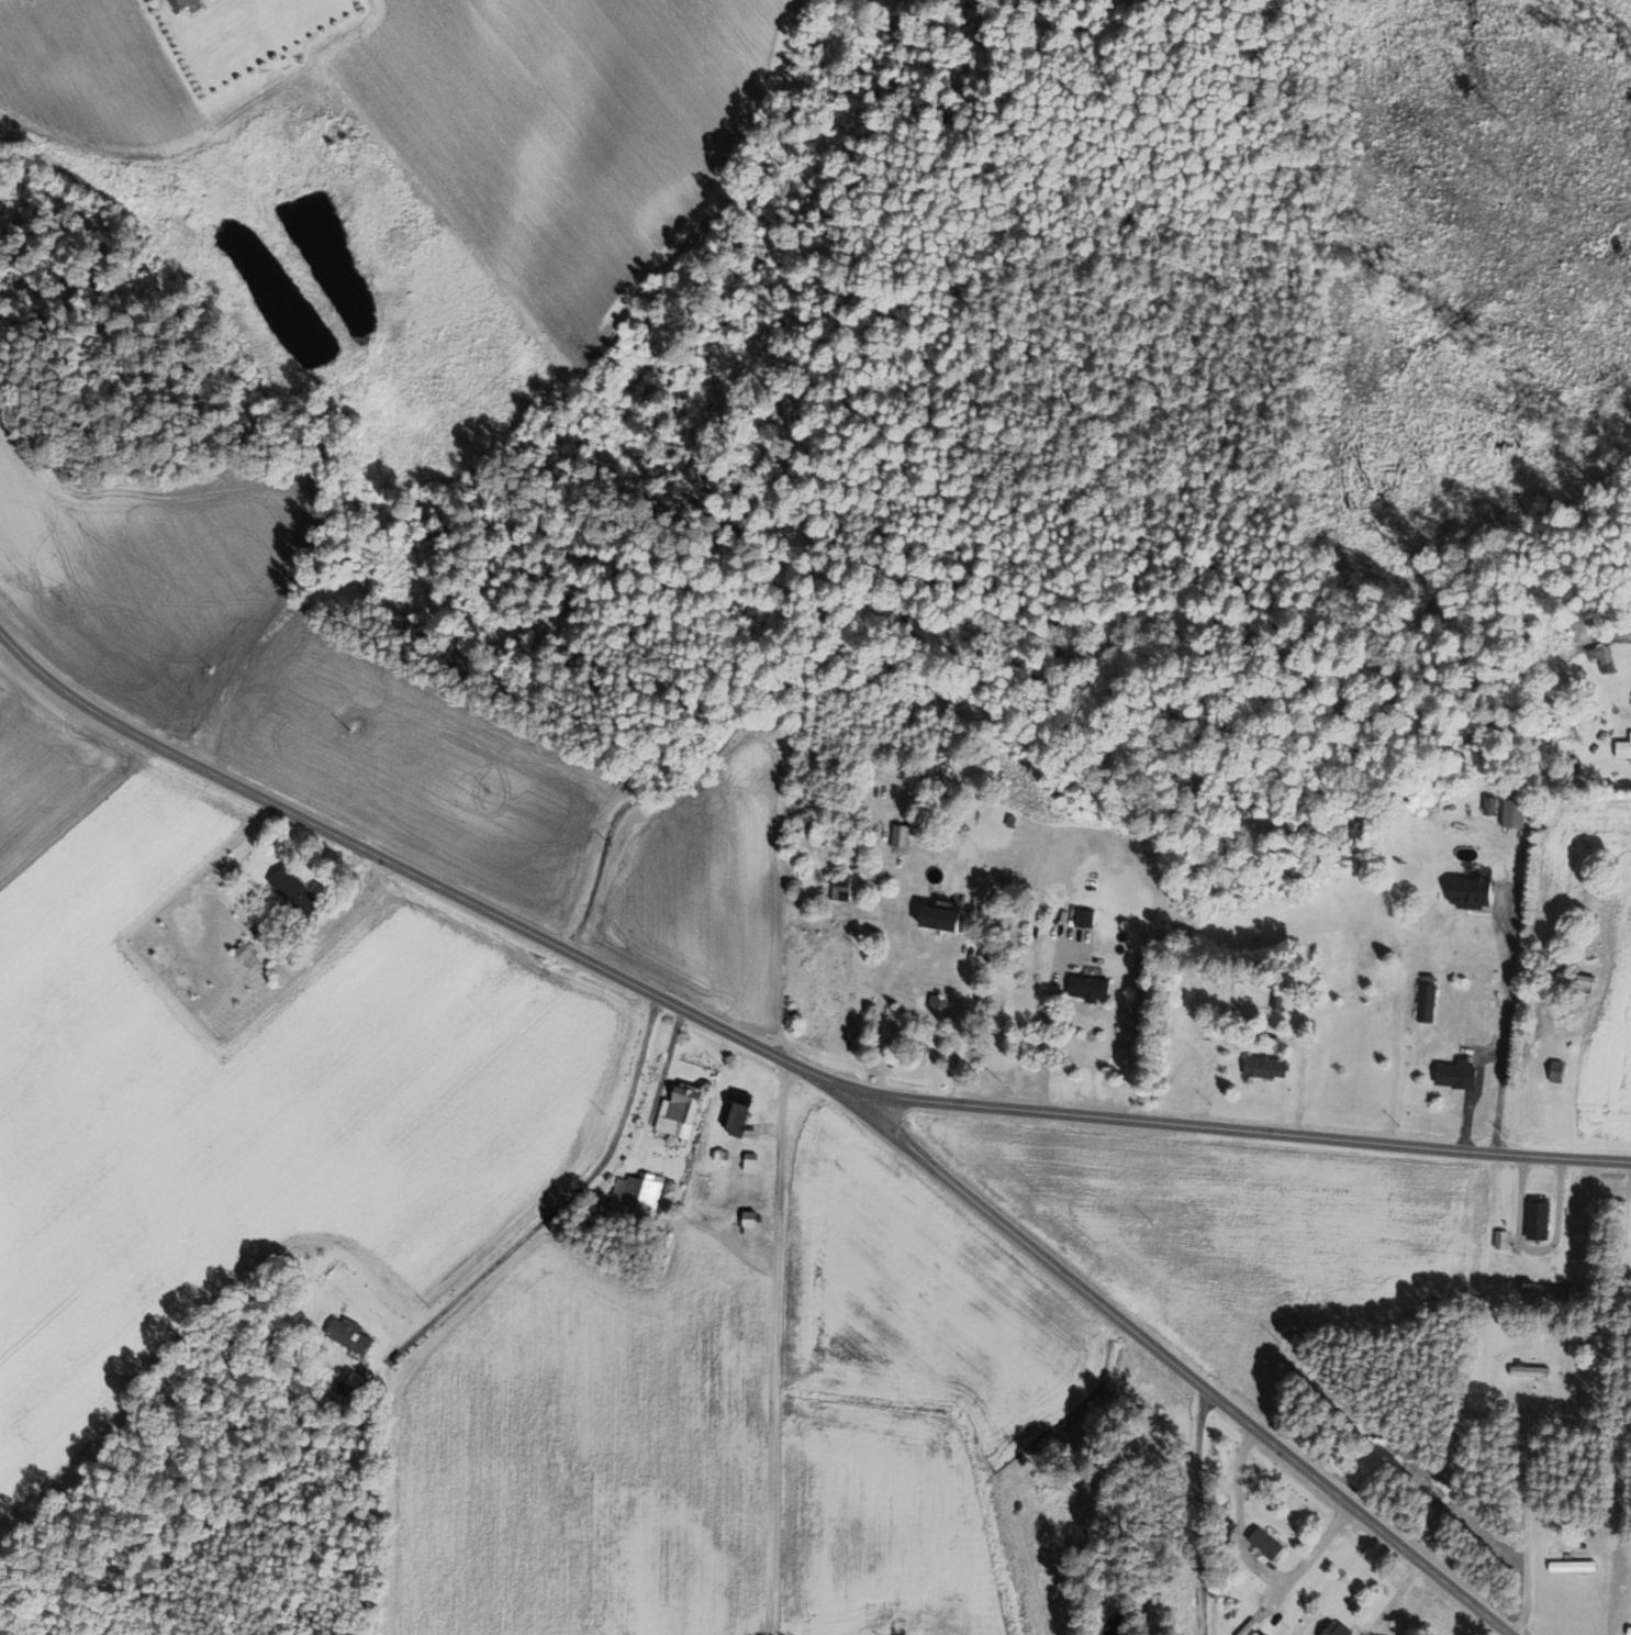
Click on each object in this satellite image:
crop: (868, 0)
building: (179, 4)
crop: (94, 73)
crop: (568, 132)
building: (1600, 657)
crop: (289, 674)
building: (1622, 748)
building: (1489, 805)
building: (1511, 812)
building: (1009, 820)
building: (807, 826)
building: (898, 835)
road: (343, 876)
crop: (703, 885)
building: (837, 887)
building: (293, 892)
building: (1468, 893)
building: (937, 917)
building: (1083, 917)
building: (254, 930)
building: (245, 955)
building: (1574, 979)
building: (1087, 987)
building: (937, 1001)
building: (1275, 1001)
building: (1425, 1001)
road: (883, 1019)
building: (907, 1023)
road: (1047, 1026)
road: (1506, 1028)
road: (965, 1030)
road: (1258, 1032)
road: (766, 1053)
road: (1392, 1058)
road: (1527, 1064)
building: (1263, 1066)
building: (1555, 1071)
building: (1454, 1076)
road: (662, 1078)
road: (1475, 1093)
crop: (235, 1095)
building: (733, 1109)
building: (678, 1111)
road: (763, 1128)
building: (718, 1155)
building: (749, 1163)
building: (636, 1192)
road: (561, 1203)
road: (1624, 1214)
building: (1538, 1217)
building: (747, 1219)
crop: (1239, 1232)
building: (1500, 1239)
building: (1578, 1243)
road: (1537, 1250)
building: (1551, 1292)
building: (347, 1334)
road: (773, 1348)
road: (1171, 1362)
building: (1528, 1371)
building: (353, 1379)
crop: (903, 1392)
crop: (590, 1454)
road: (391, 1494)
road: (1202, 1513)
road: (1527, 1521)
building: (1264, 1543)
road: (1252, 1559)
building: (1572, 1566)
road: (1604, 1594)
road: (1393, 1599)
road: (1479, 1626)
building: (1336, 1630)
building: (1630, 1632)
building: (1261, 1634)

